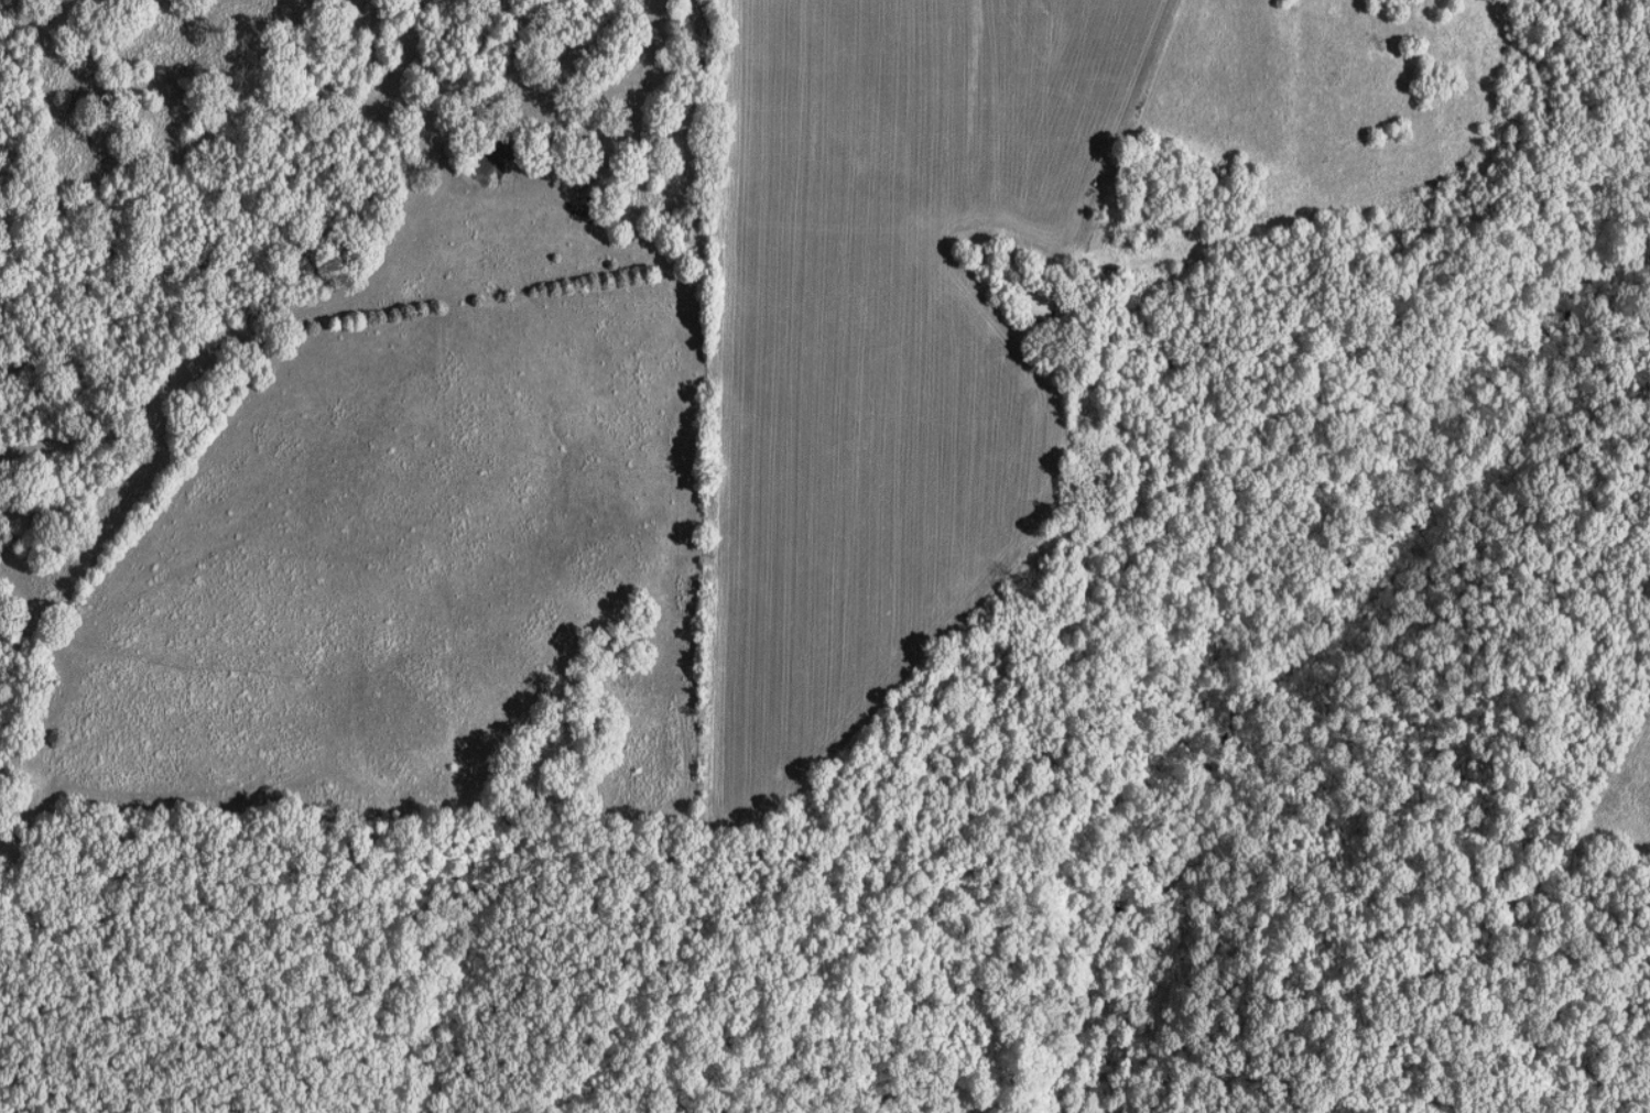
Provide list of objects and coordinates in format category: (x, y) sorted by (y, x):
road: (873, 721)

